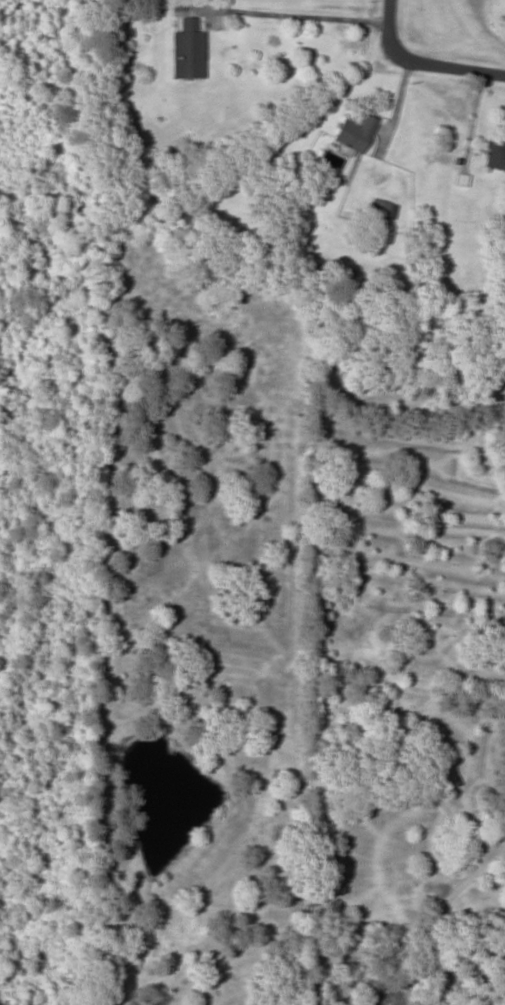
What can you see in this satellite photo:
building: (187, 50)
road: (422, 63)
building: (355, 133)
building: (495, 155)
building: (380, 208)

